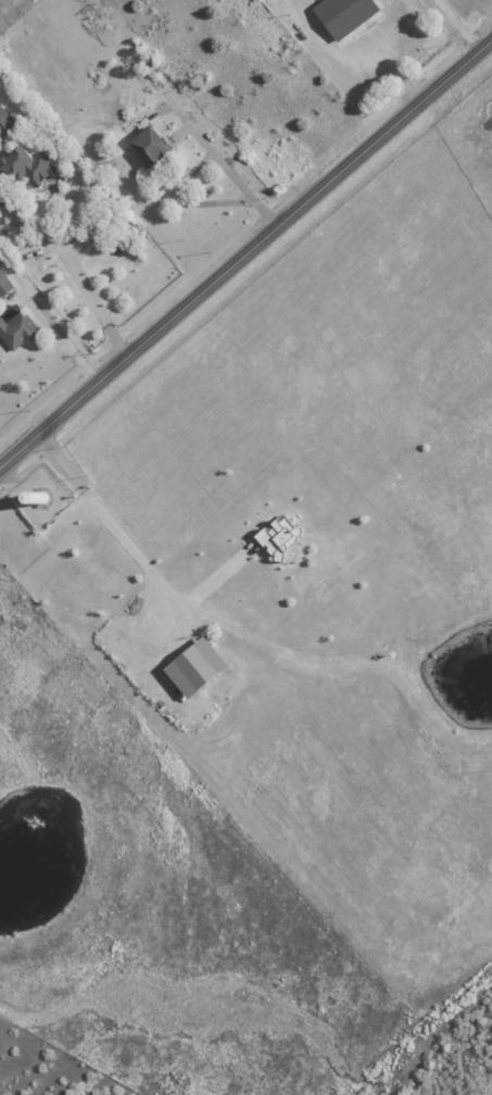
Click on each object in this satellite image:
building: (342, 14)
road: (455, 26)
building: (4, 120)
building: (148, 144)
road: (212, 154)
building: (25, 164)
road: (245, 254)
road: (79, 273)
building: (3, 284)
building: (15, 326)
road: (64, 341)
storage tank: (38, 498)
road: (109, 522)
building: (278, 535)
road: (217, 575)
building: (193, 667)

